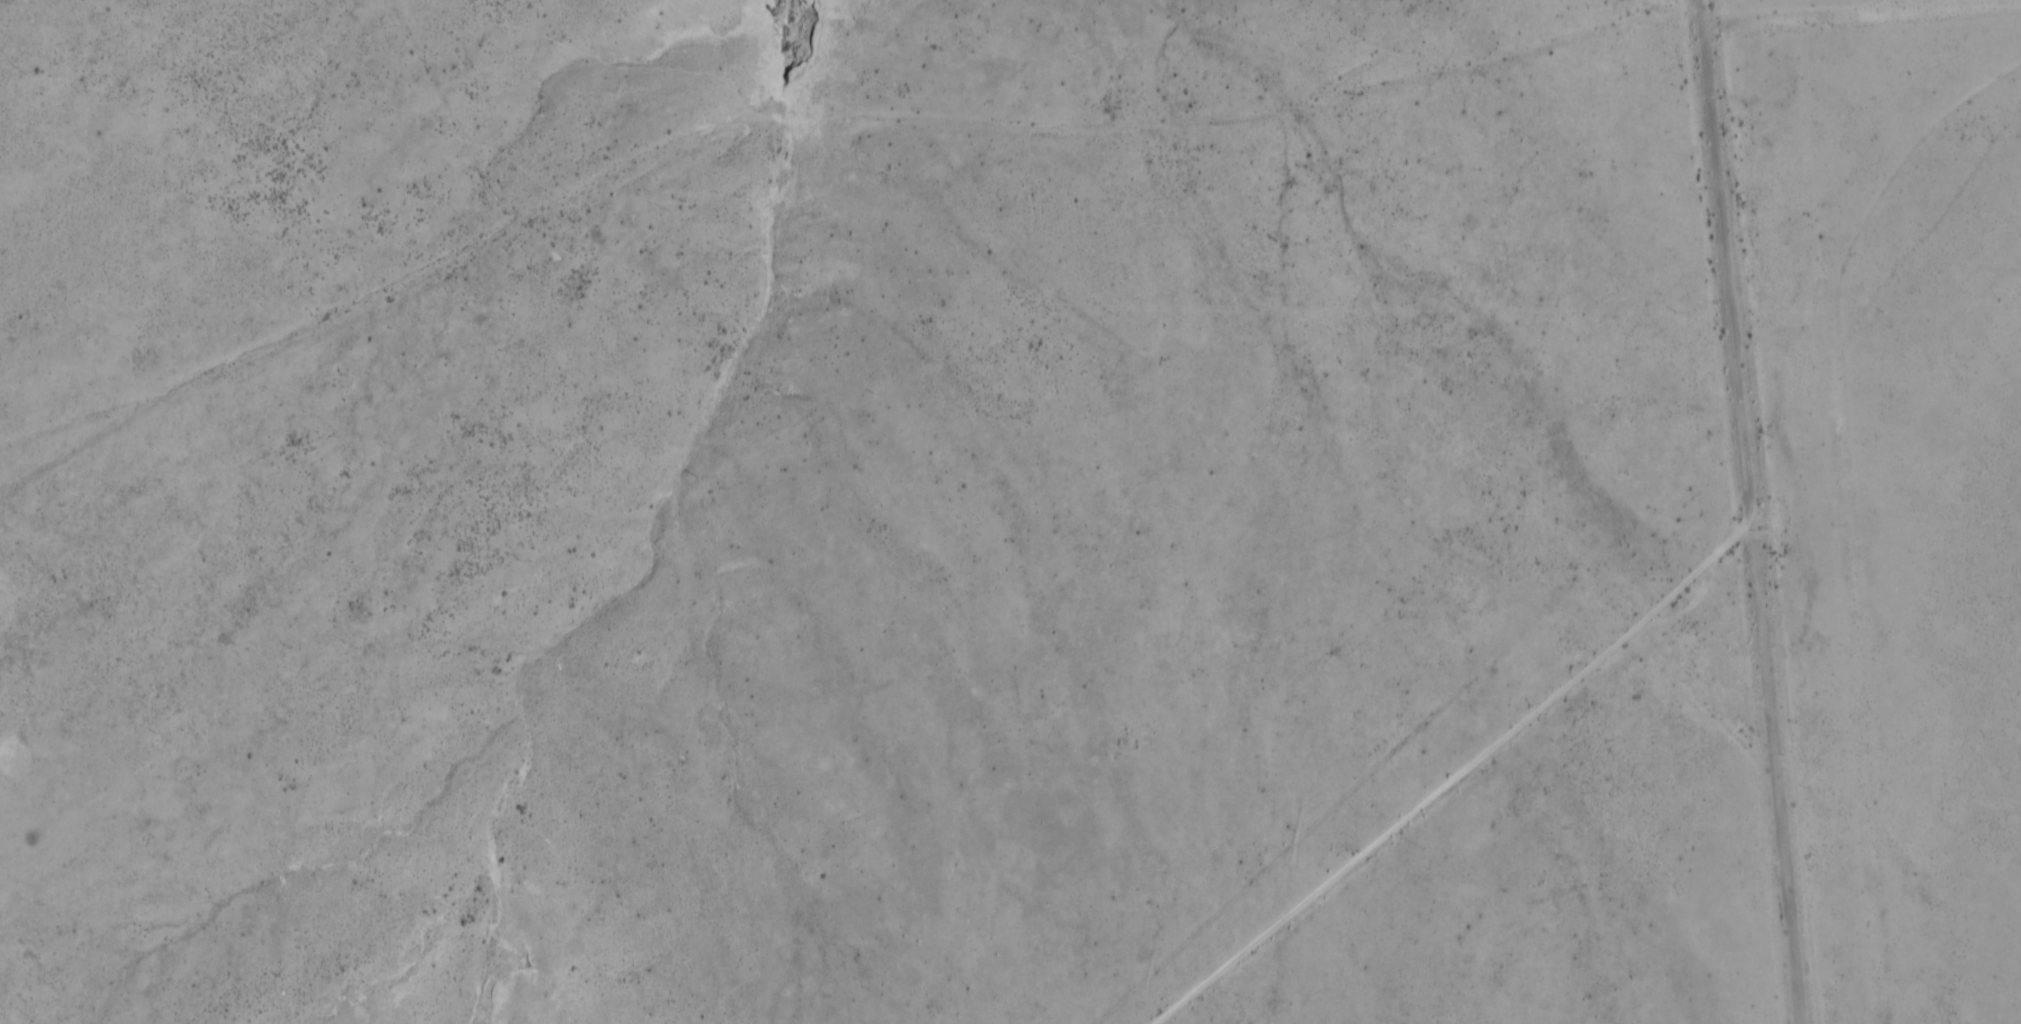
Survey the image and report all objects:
airport runway: (1864, 9)
road: (1752, 511)
airport runway: (1836, 519)

